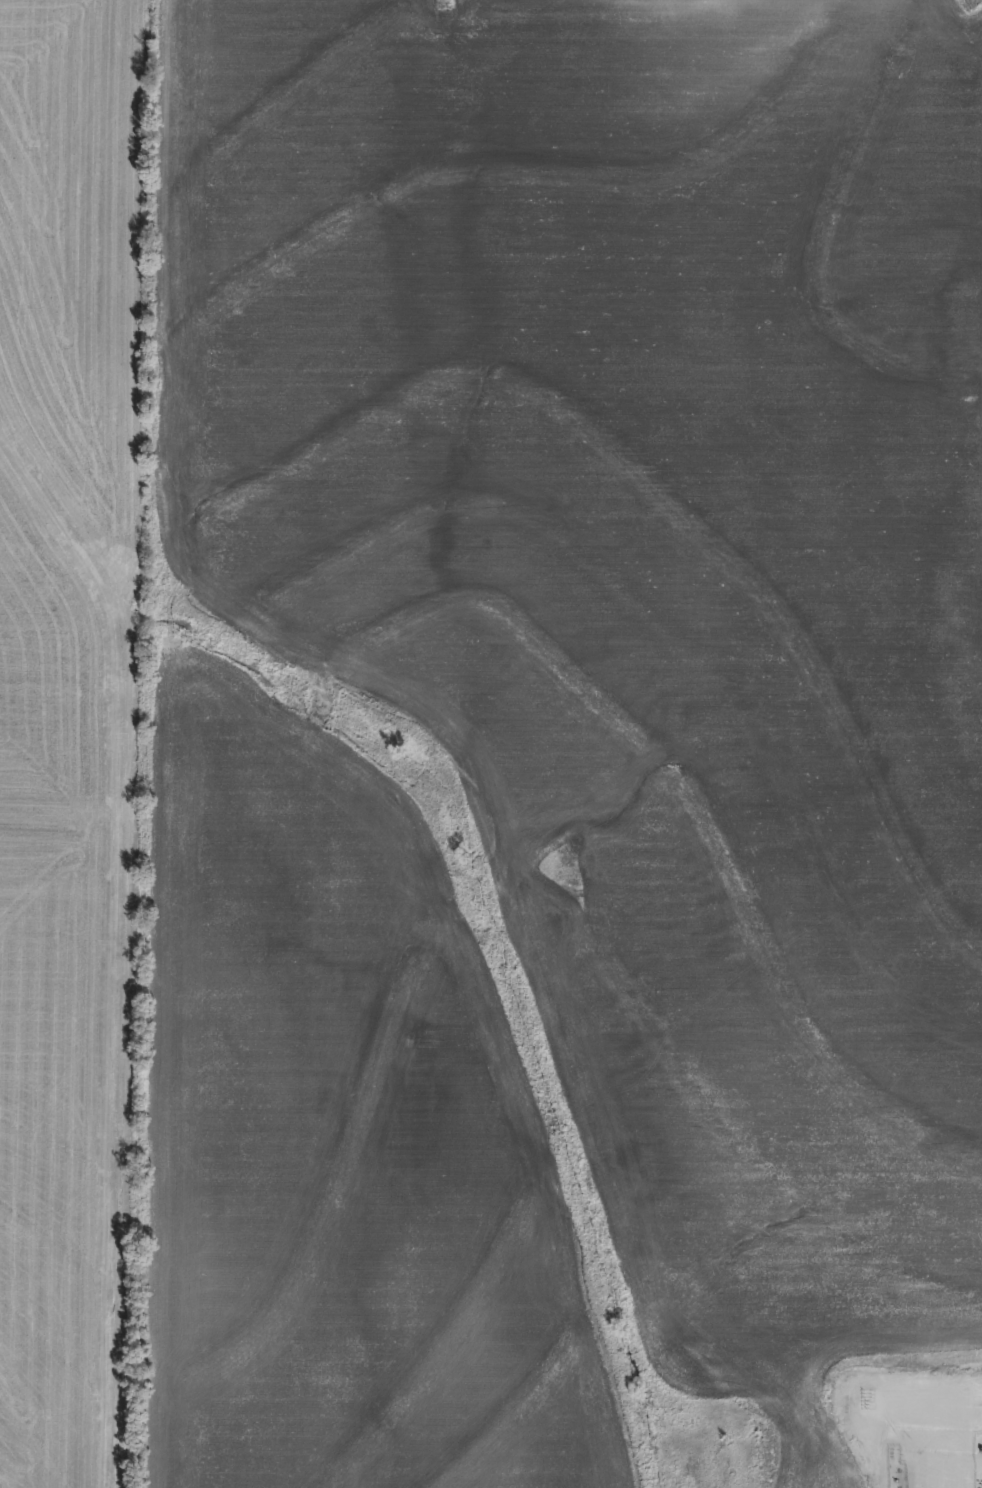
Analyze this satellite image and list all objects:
power tower: (441, 1)

